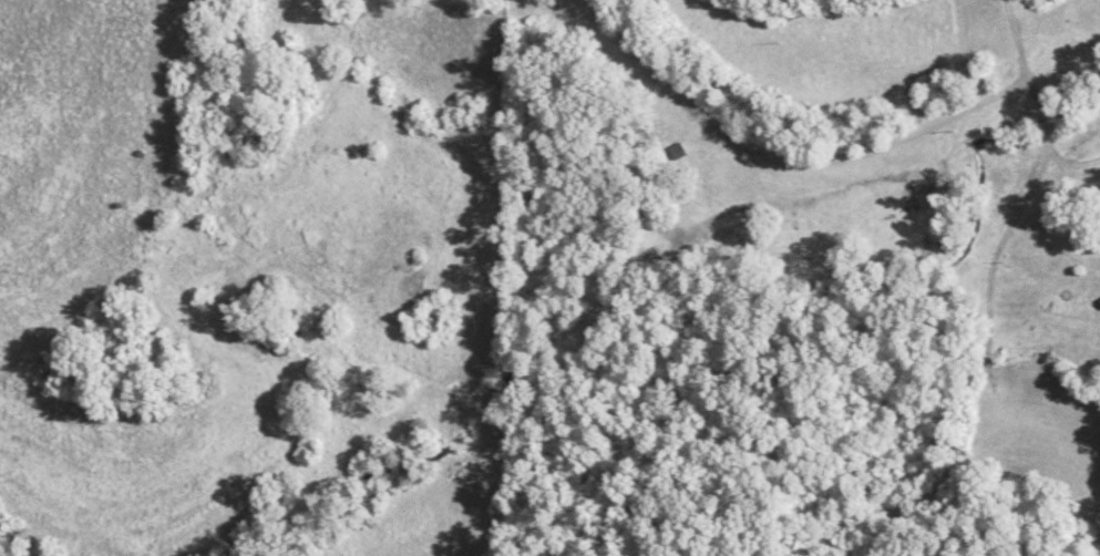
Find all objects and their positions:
building: (677, 150)
road: (1072, 167)
road: (779, 168)
road: (1019, 213)

